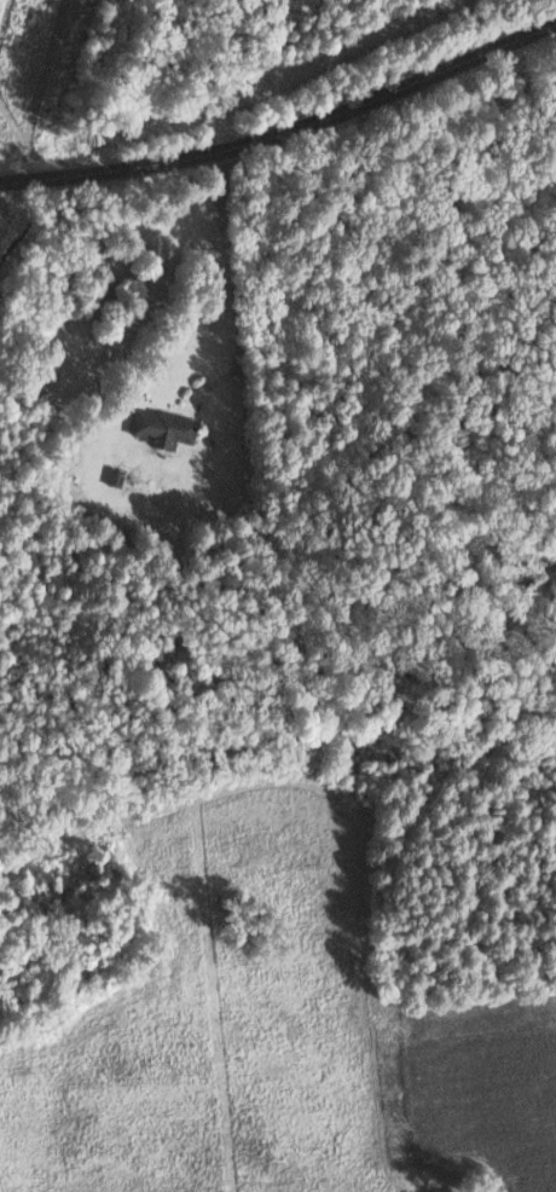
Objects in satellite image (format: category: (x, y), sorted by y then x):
road: (285, 132)
road: (230, 268)
building: (164, 427)

